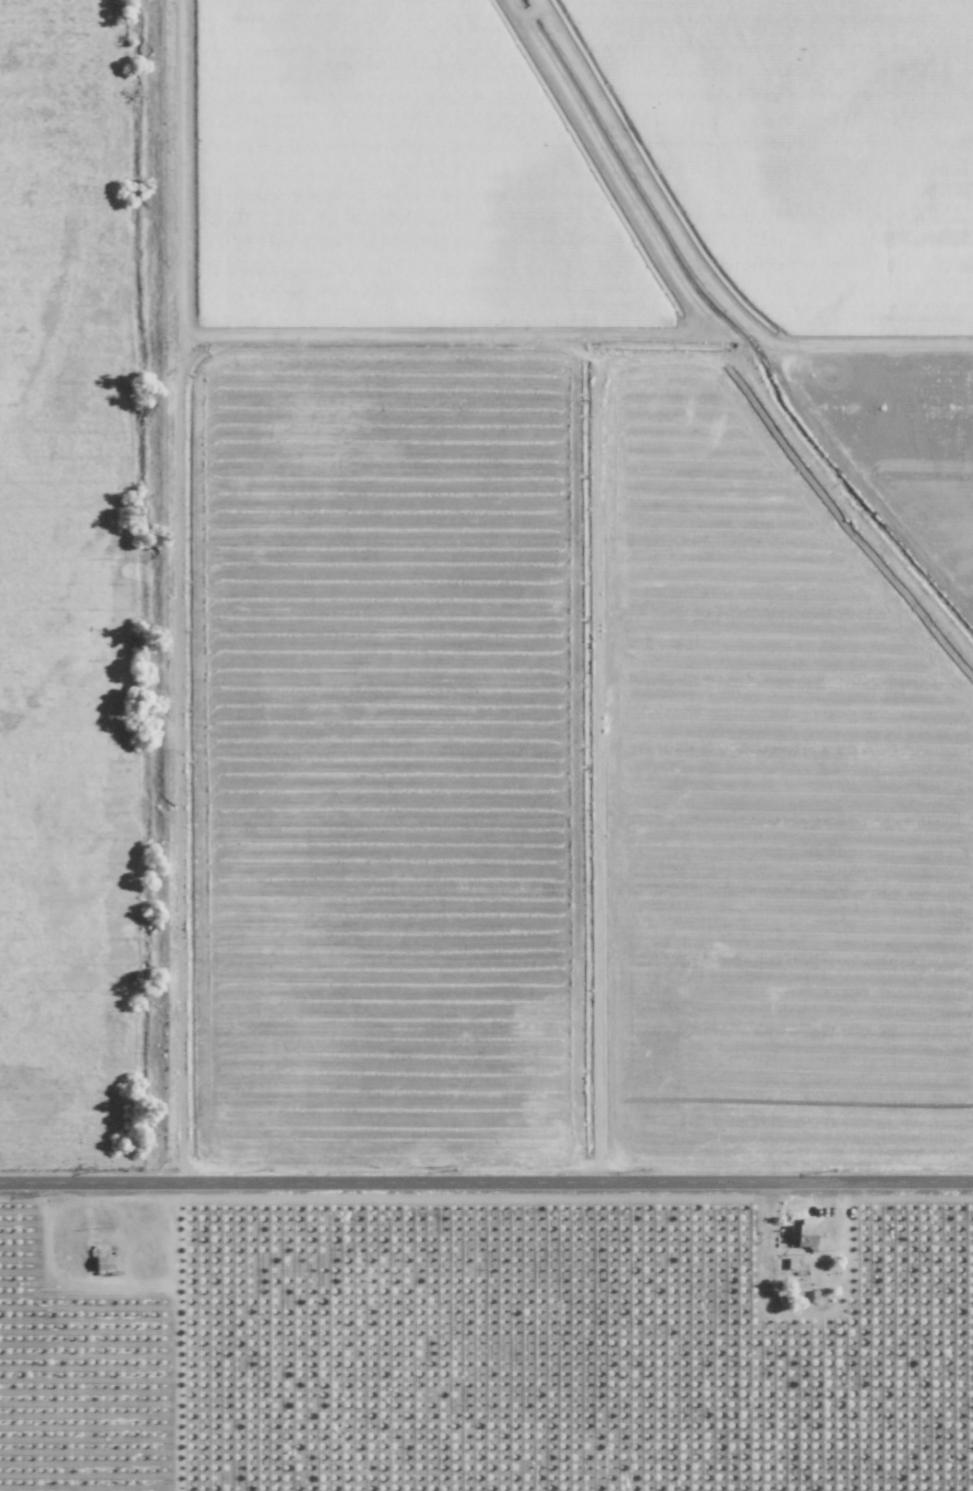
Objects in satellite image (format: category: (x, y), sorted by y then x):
road: (486, 1181)
building: (802, 1231)

